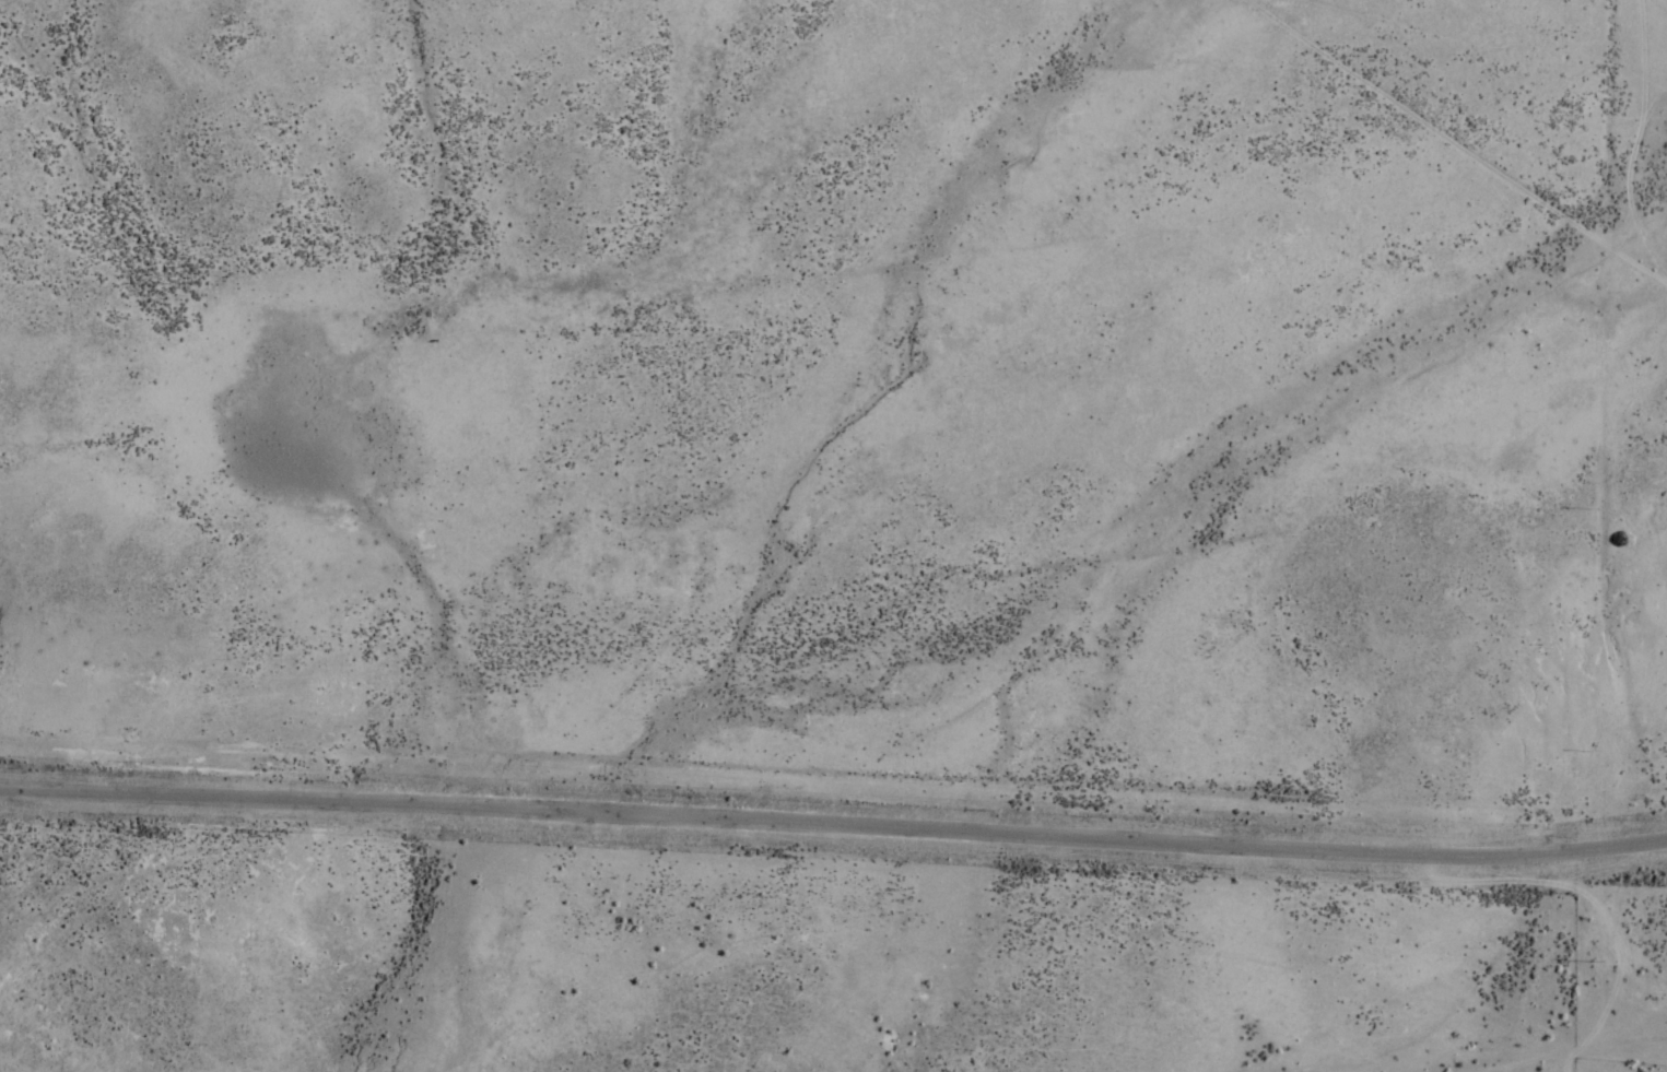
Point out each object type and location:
road: (1465, 148)
road: (833, 824)

